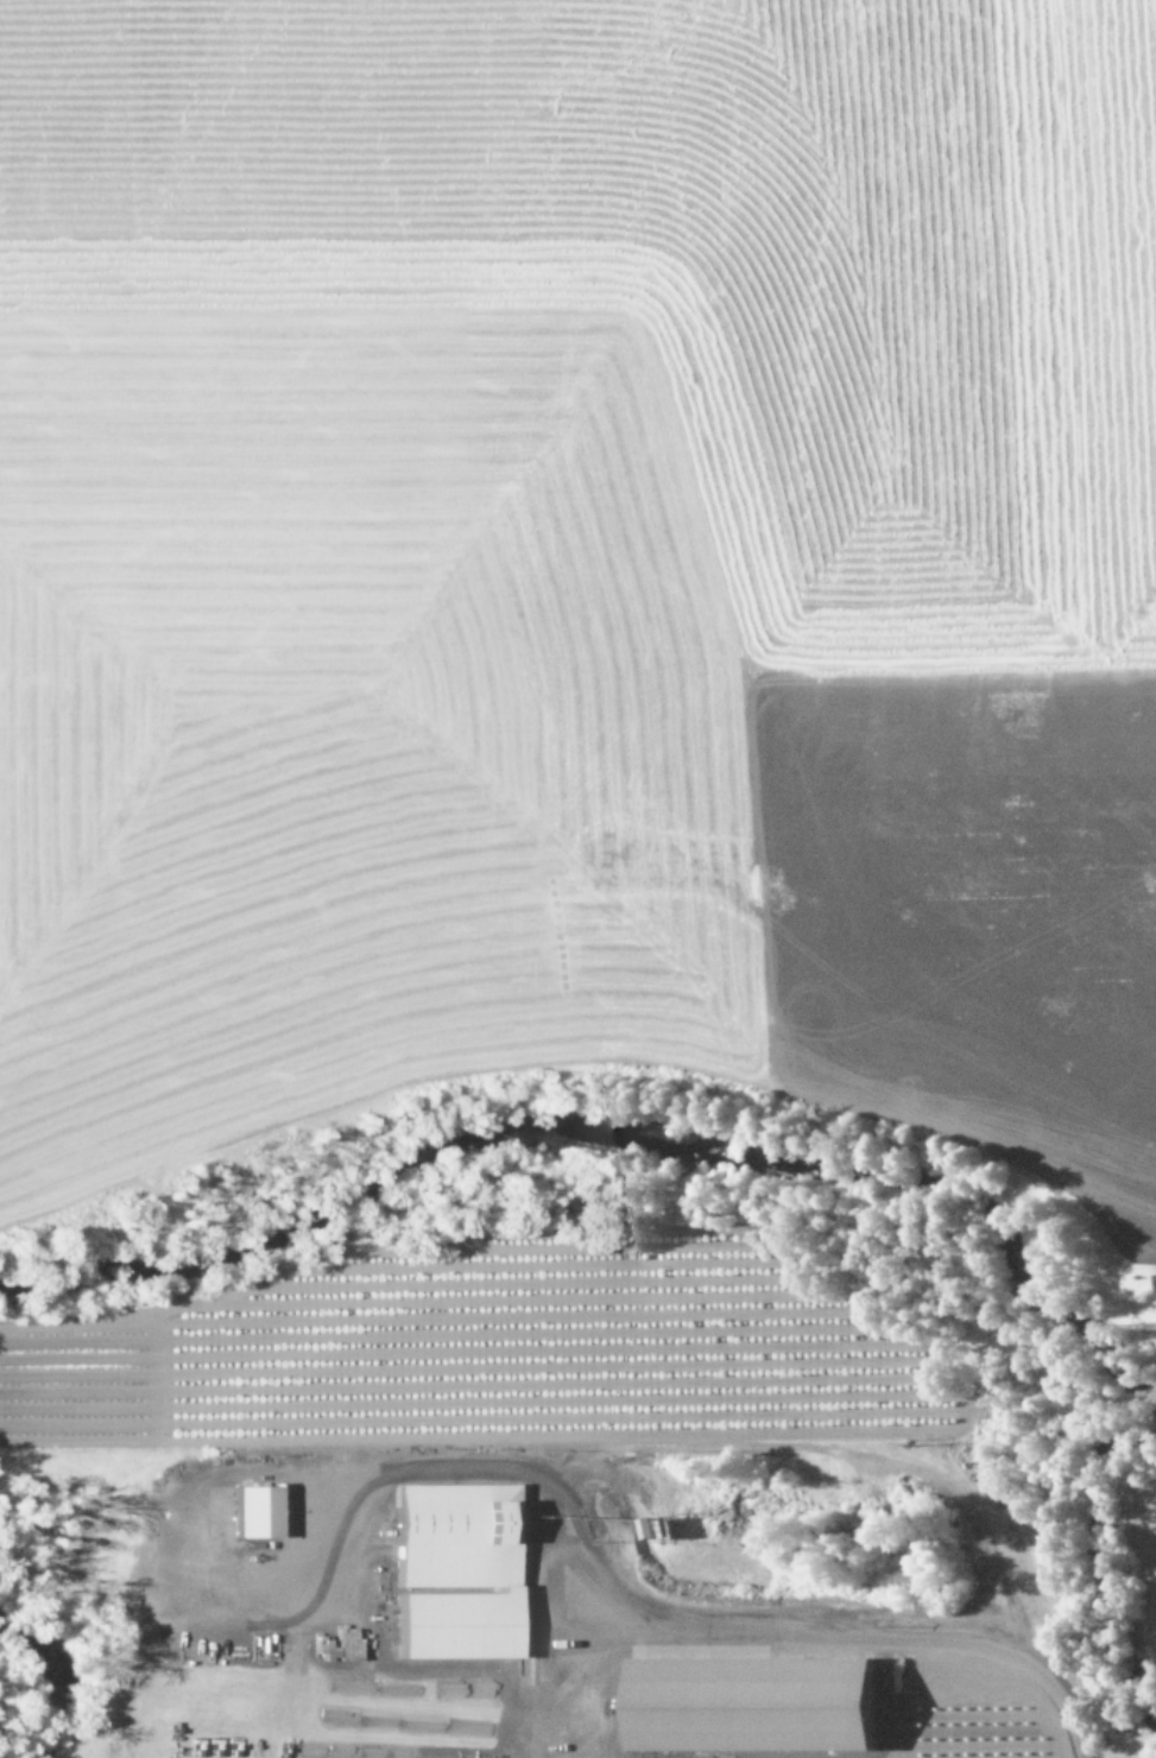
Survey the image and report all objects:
crop: (580, 561)
building: (258, 1510)
building: (756, 1702)

